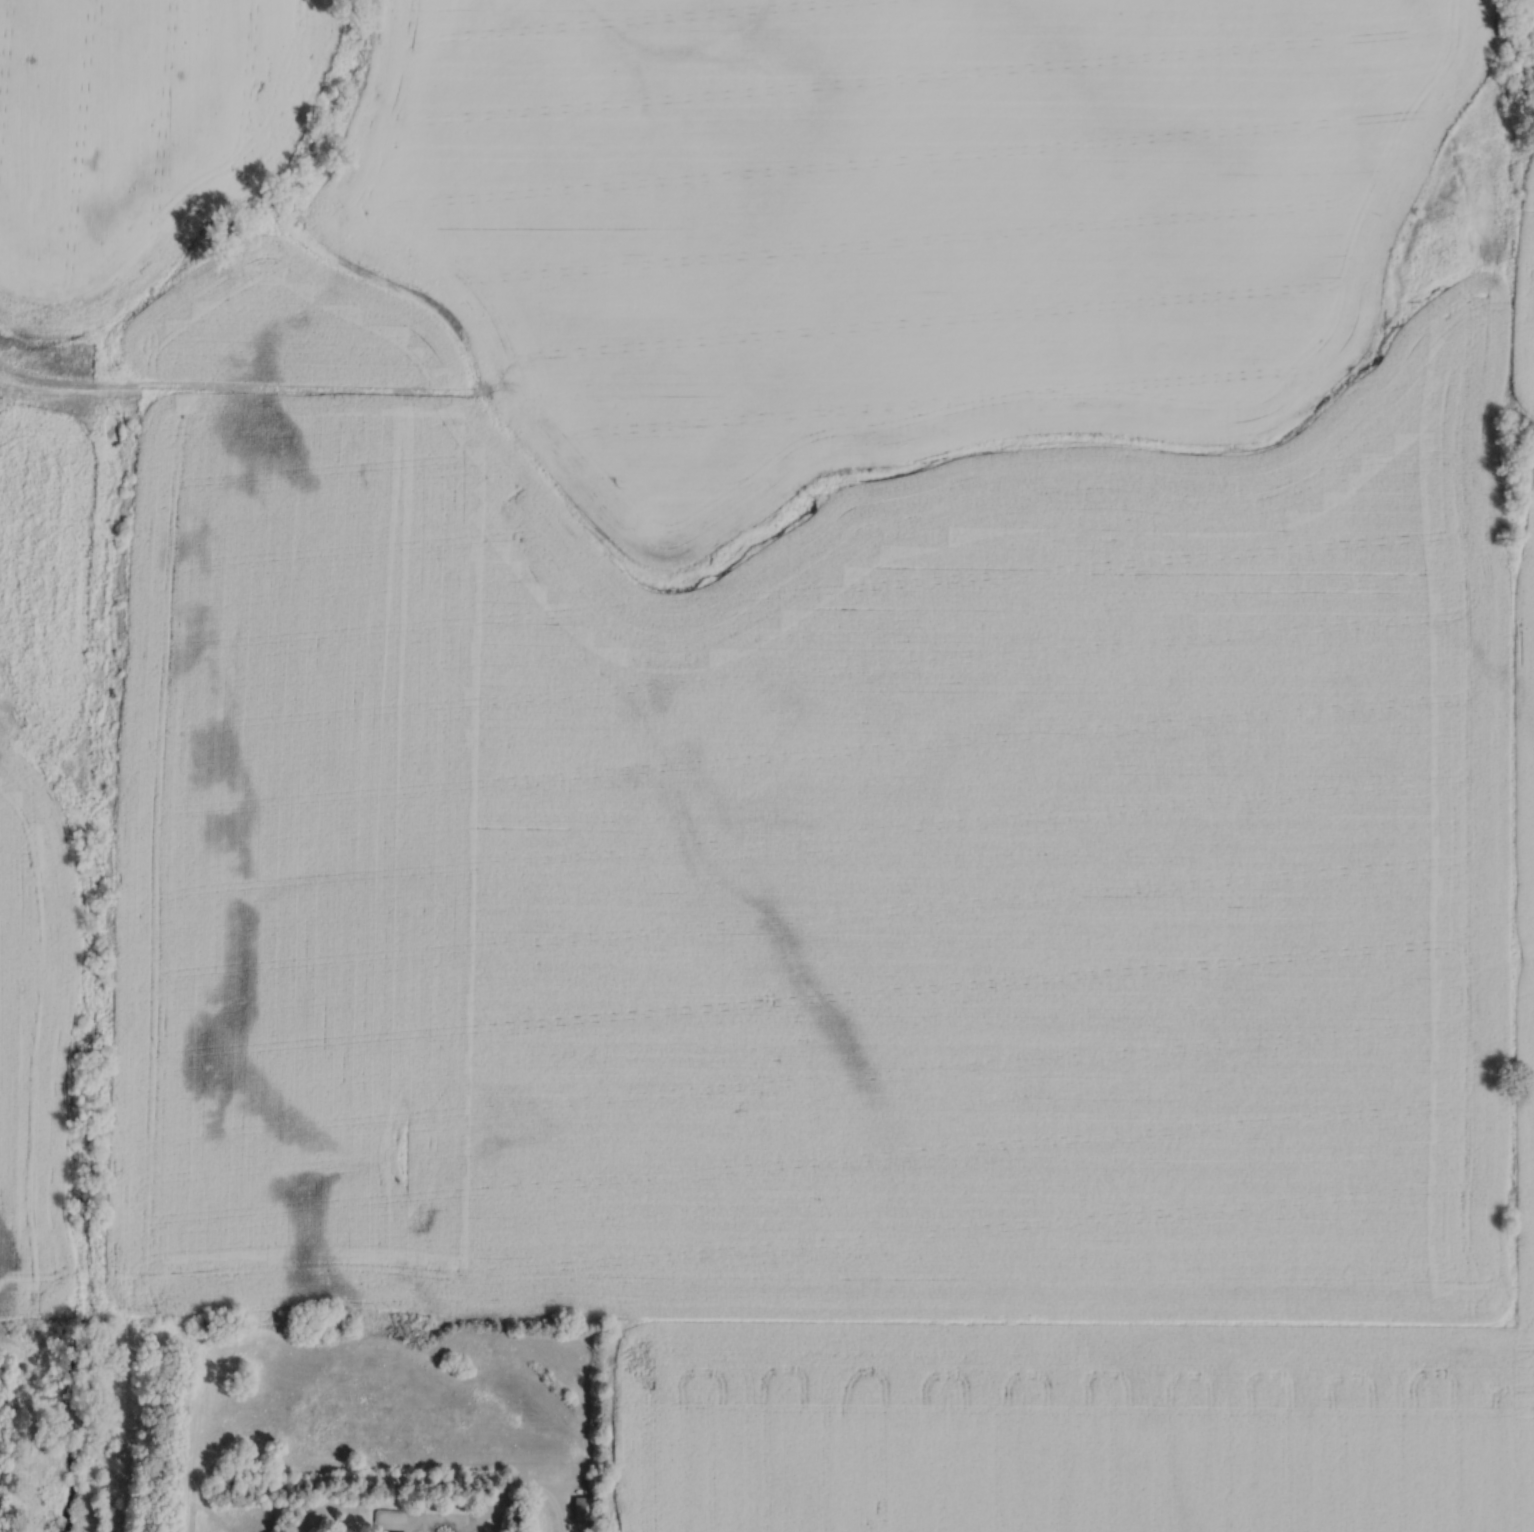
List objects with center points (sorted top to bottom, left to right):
road: (524, 1487)
building: (581, 1508)
road: (454, 1524)

